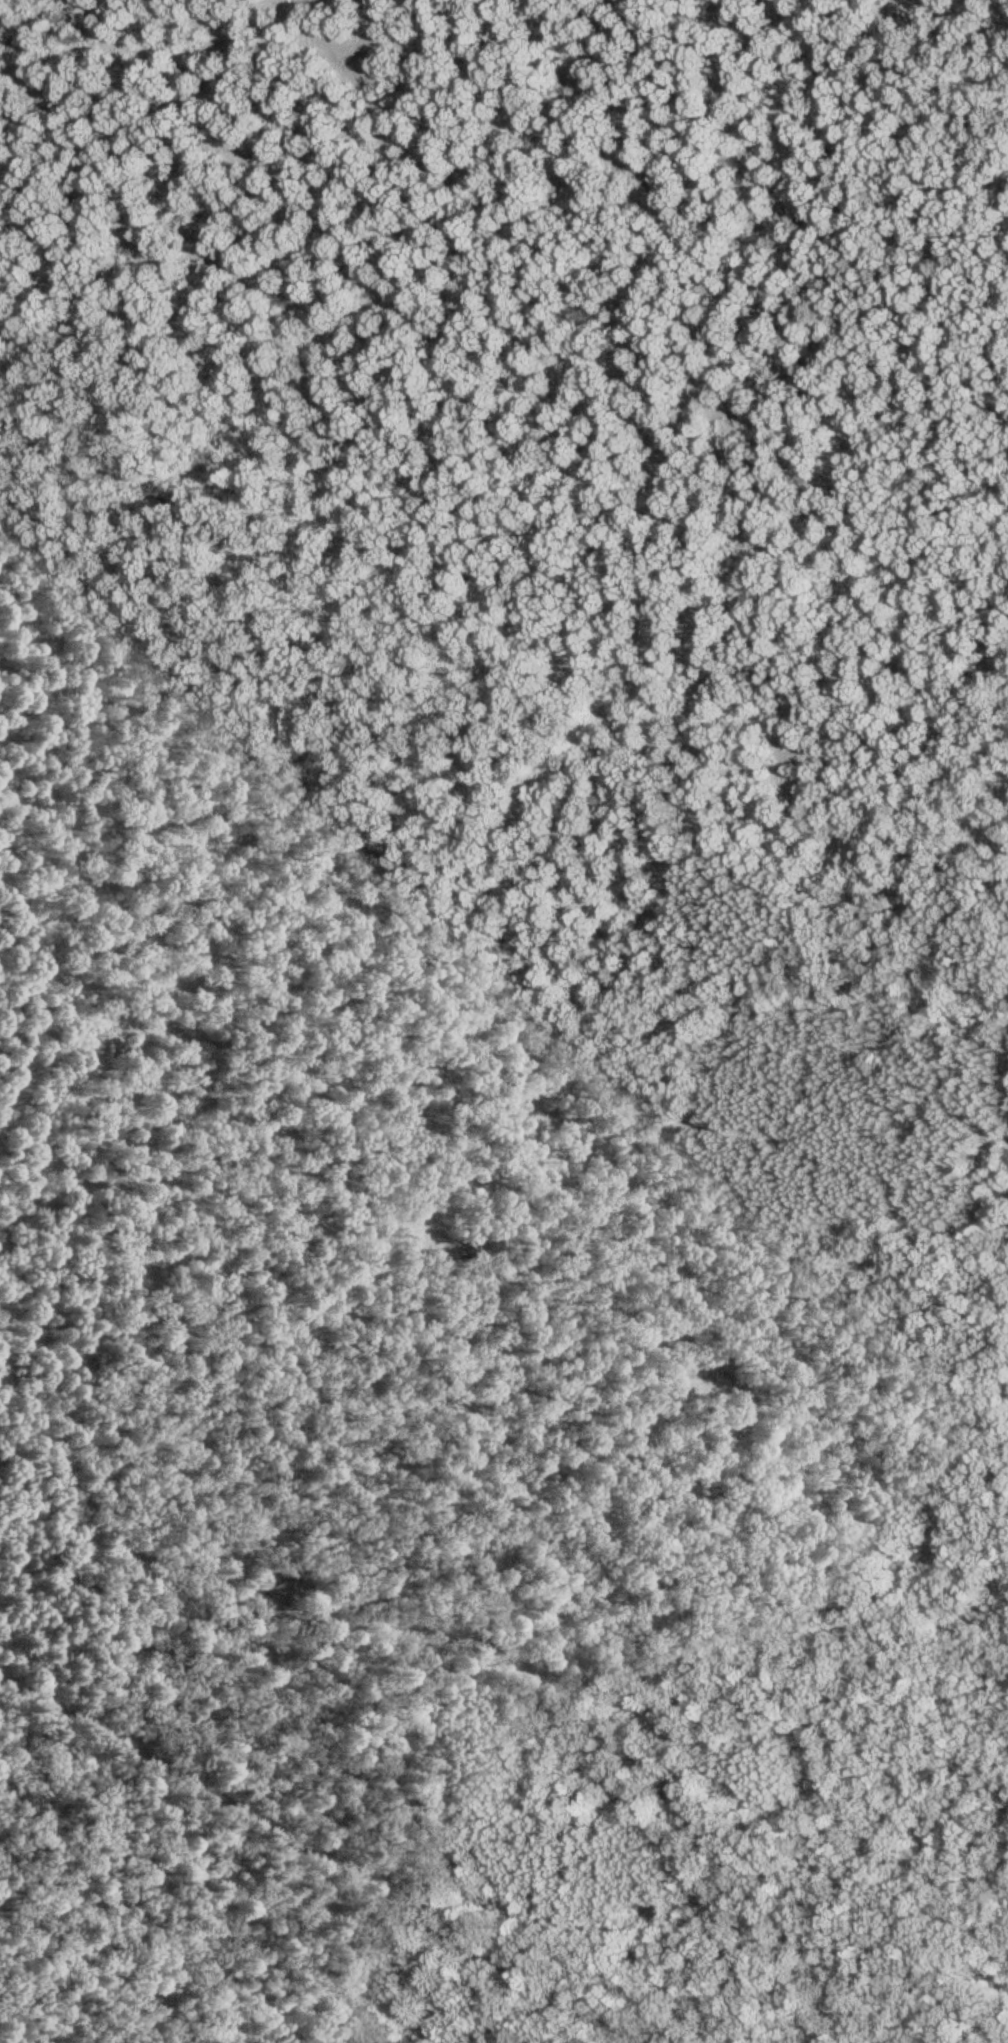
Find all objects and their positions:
road: (356, 1872)

